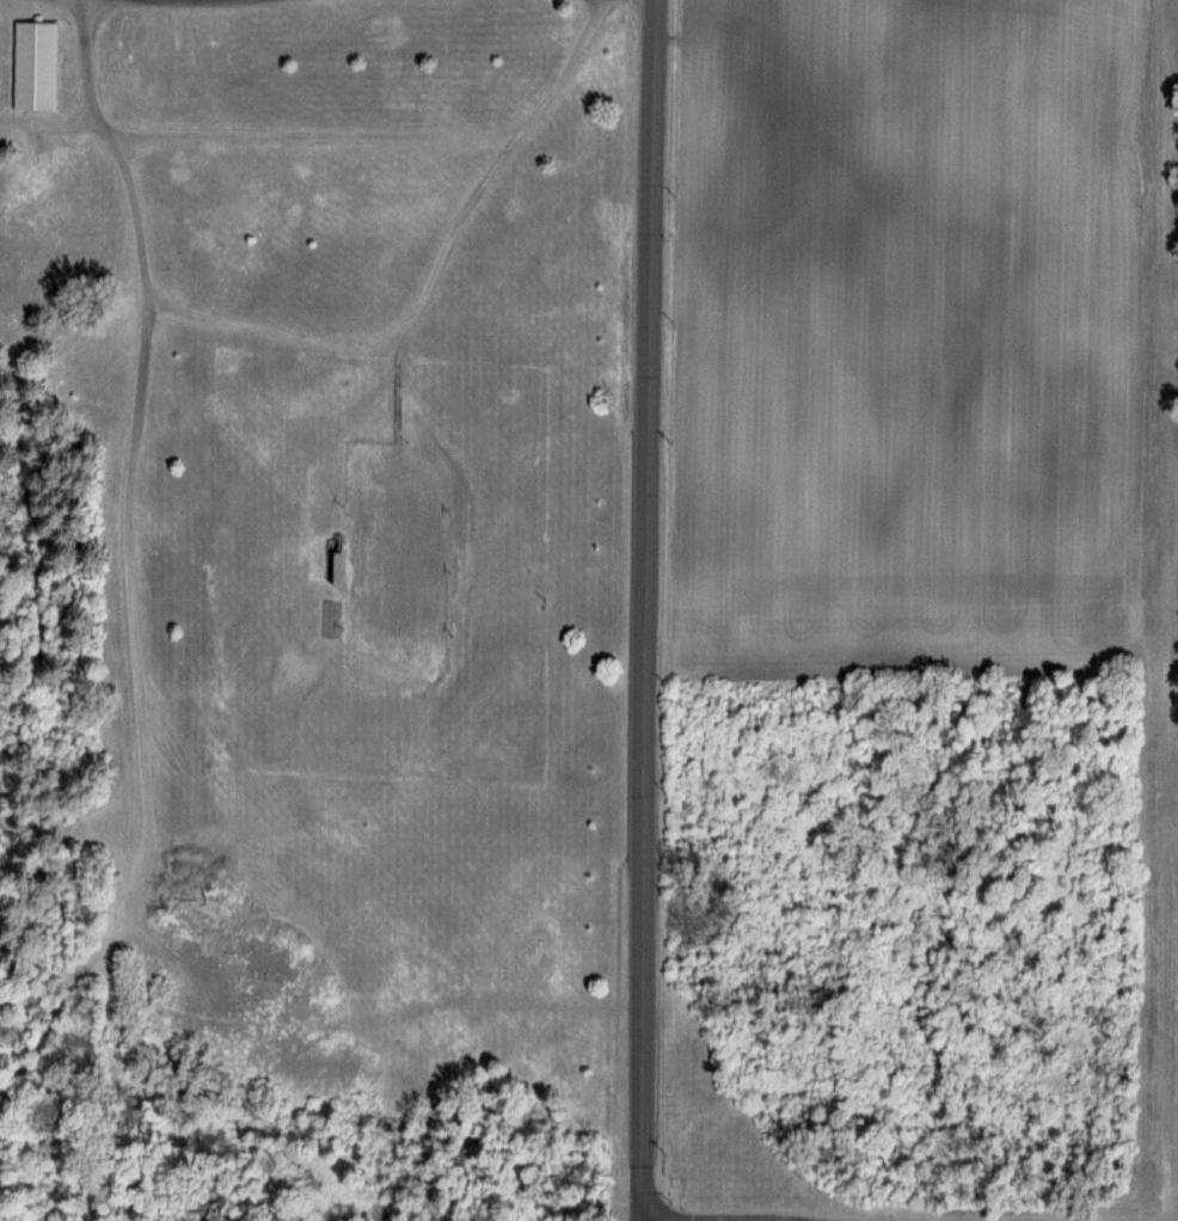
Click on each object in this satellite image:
road: (194, 0)
building: (33, 65)
building: (526, 459)
road: (12, 535)
park: (308, 608)
road: (649, 610)
road: (63, 735)
road: (5, 799)

